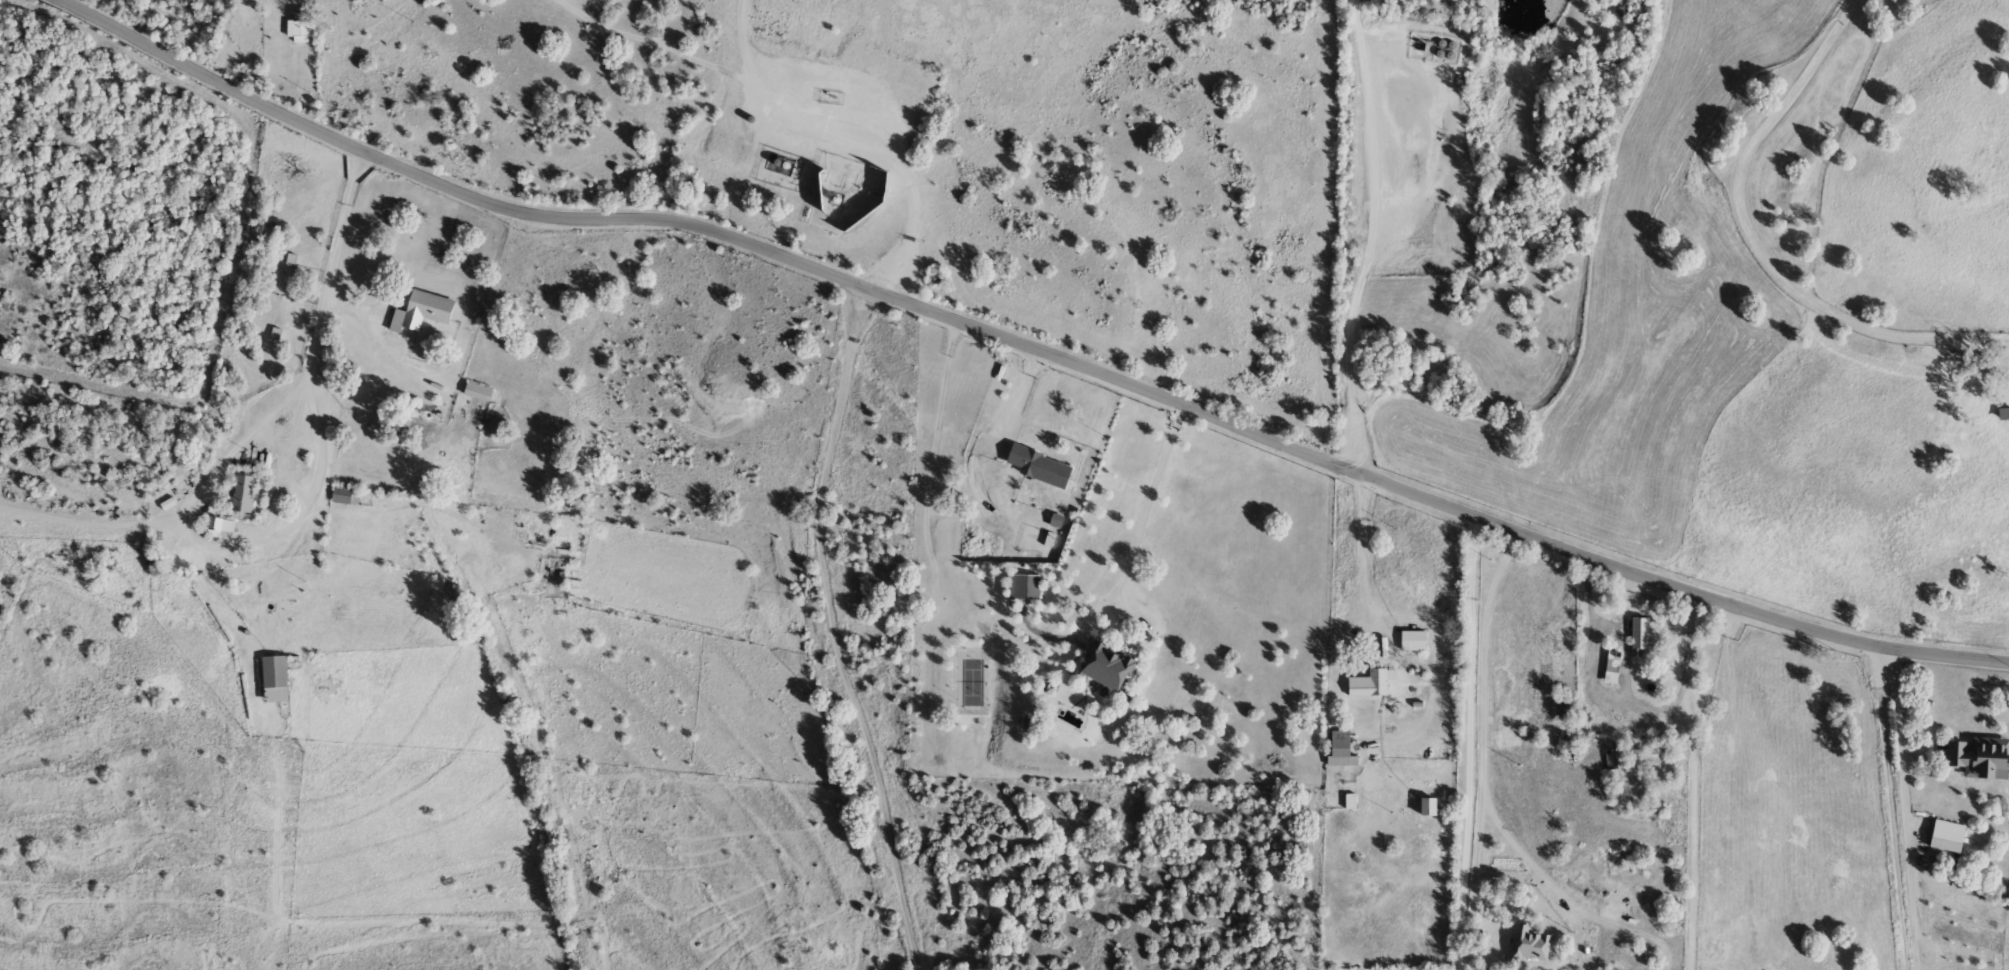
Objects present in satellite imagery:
road: (243, 5)
building: (299, 24)
road: (664, 44)
road: (263, 50)
road: (856, 134)
road: (1375, 236)
road: (1761, 241)
building: (425, 310)
road: (1026, 340)
building: (476, 392)
road: (1017, 394)
building: (2003, 415)
road: (237, 446)
building: (1036, 467)
road: (317, 493)
building: (242, 495)
building: (345, 497)
building: (218, 528)
road: (1131, 553)
building: (1025, 588)
building: (280, 607)
road: (1420, 615)
road: (833, 629)
building: (1638, 634)
building: (1412, 641)
building: (1104, 667)
building: (1610, 668)
road: (1597, 670)
building: (273, 680)
building: (1369, 685)
building: (1566, 709)
road: (1486, 713)
road: (1472, 744)
building: (1339, 750)
building: (1978, 759)
road: (1694, 782)
road: (1892, 809)
building: (1944, 842)
road: (1953, 896)

